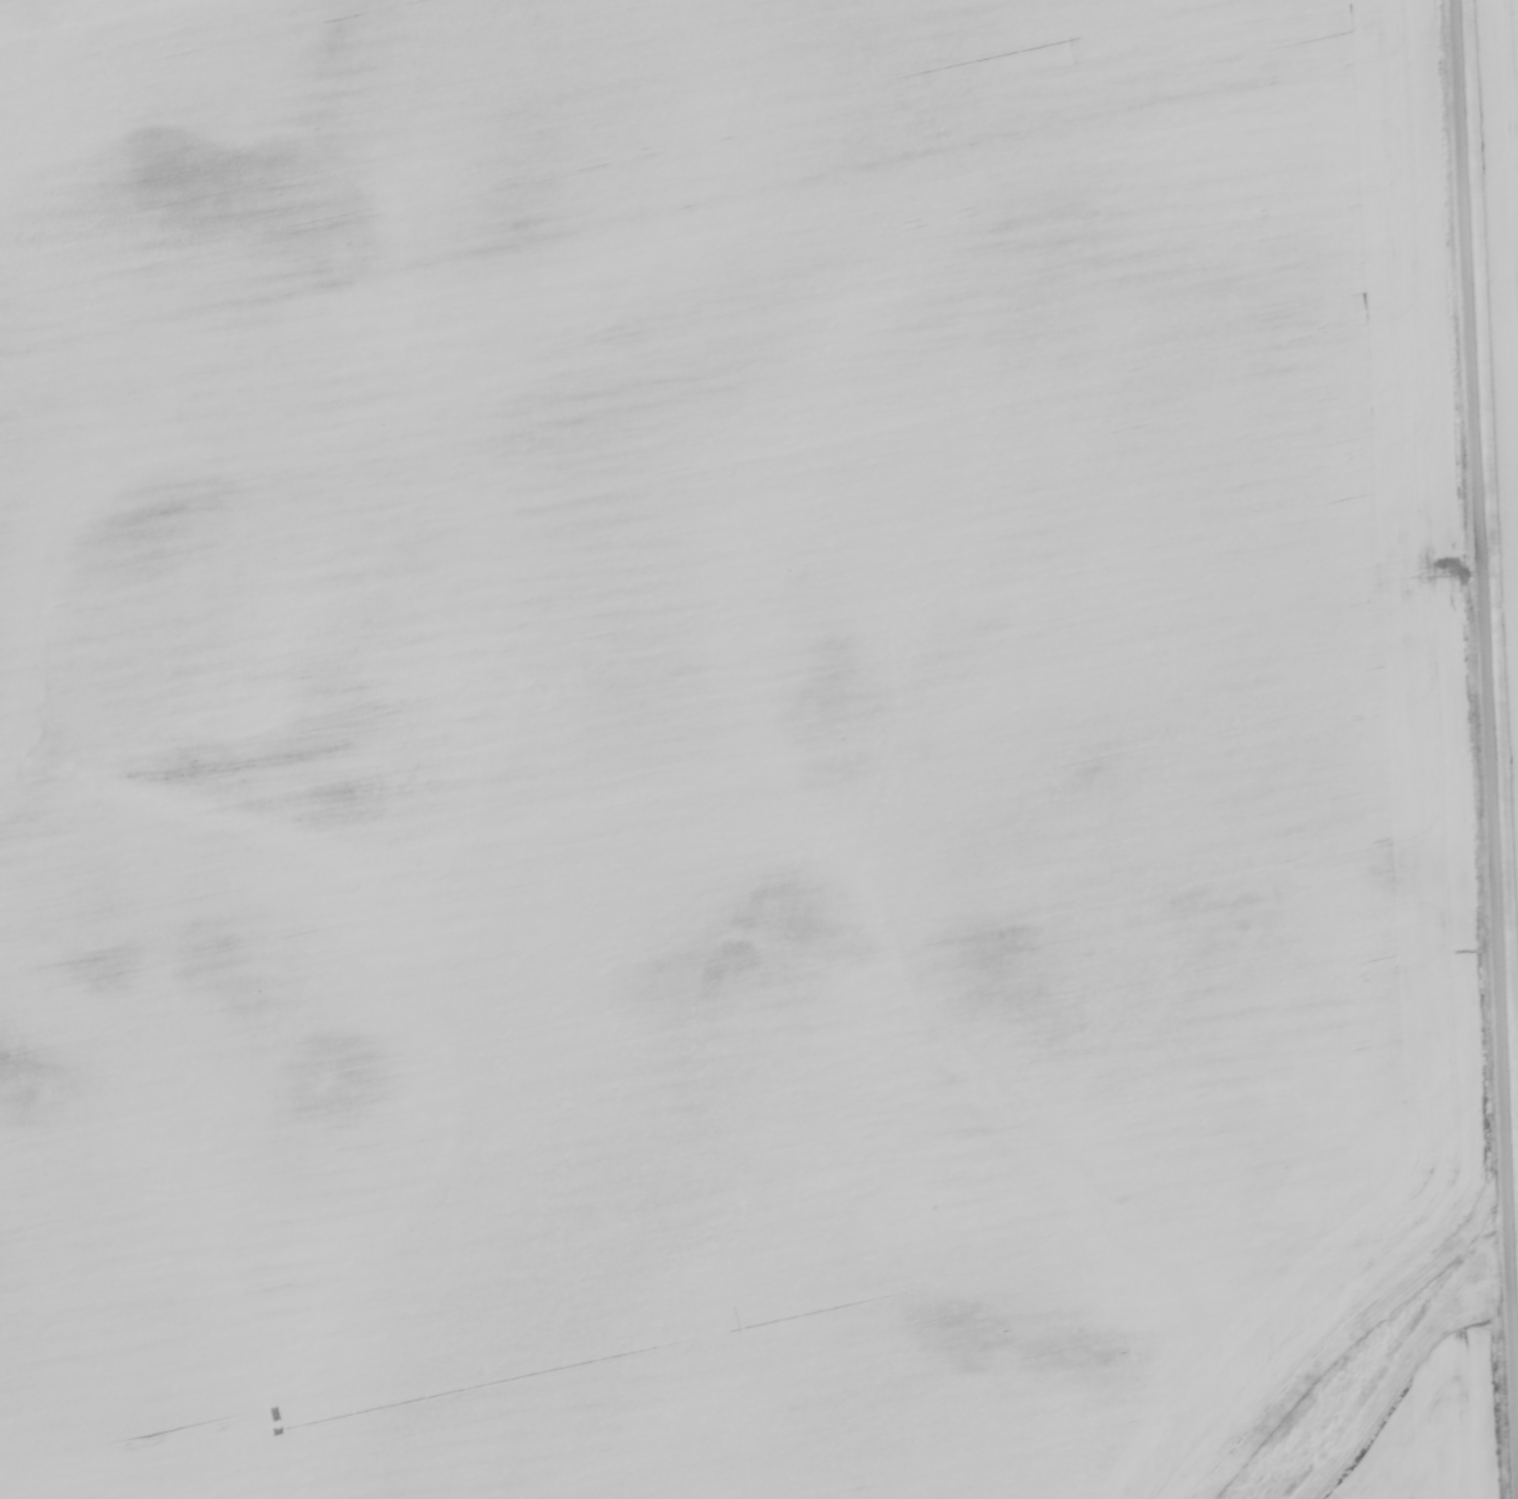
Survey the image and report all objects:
road: (1485, 749)

